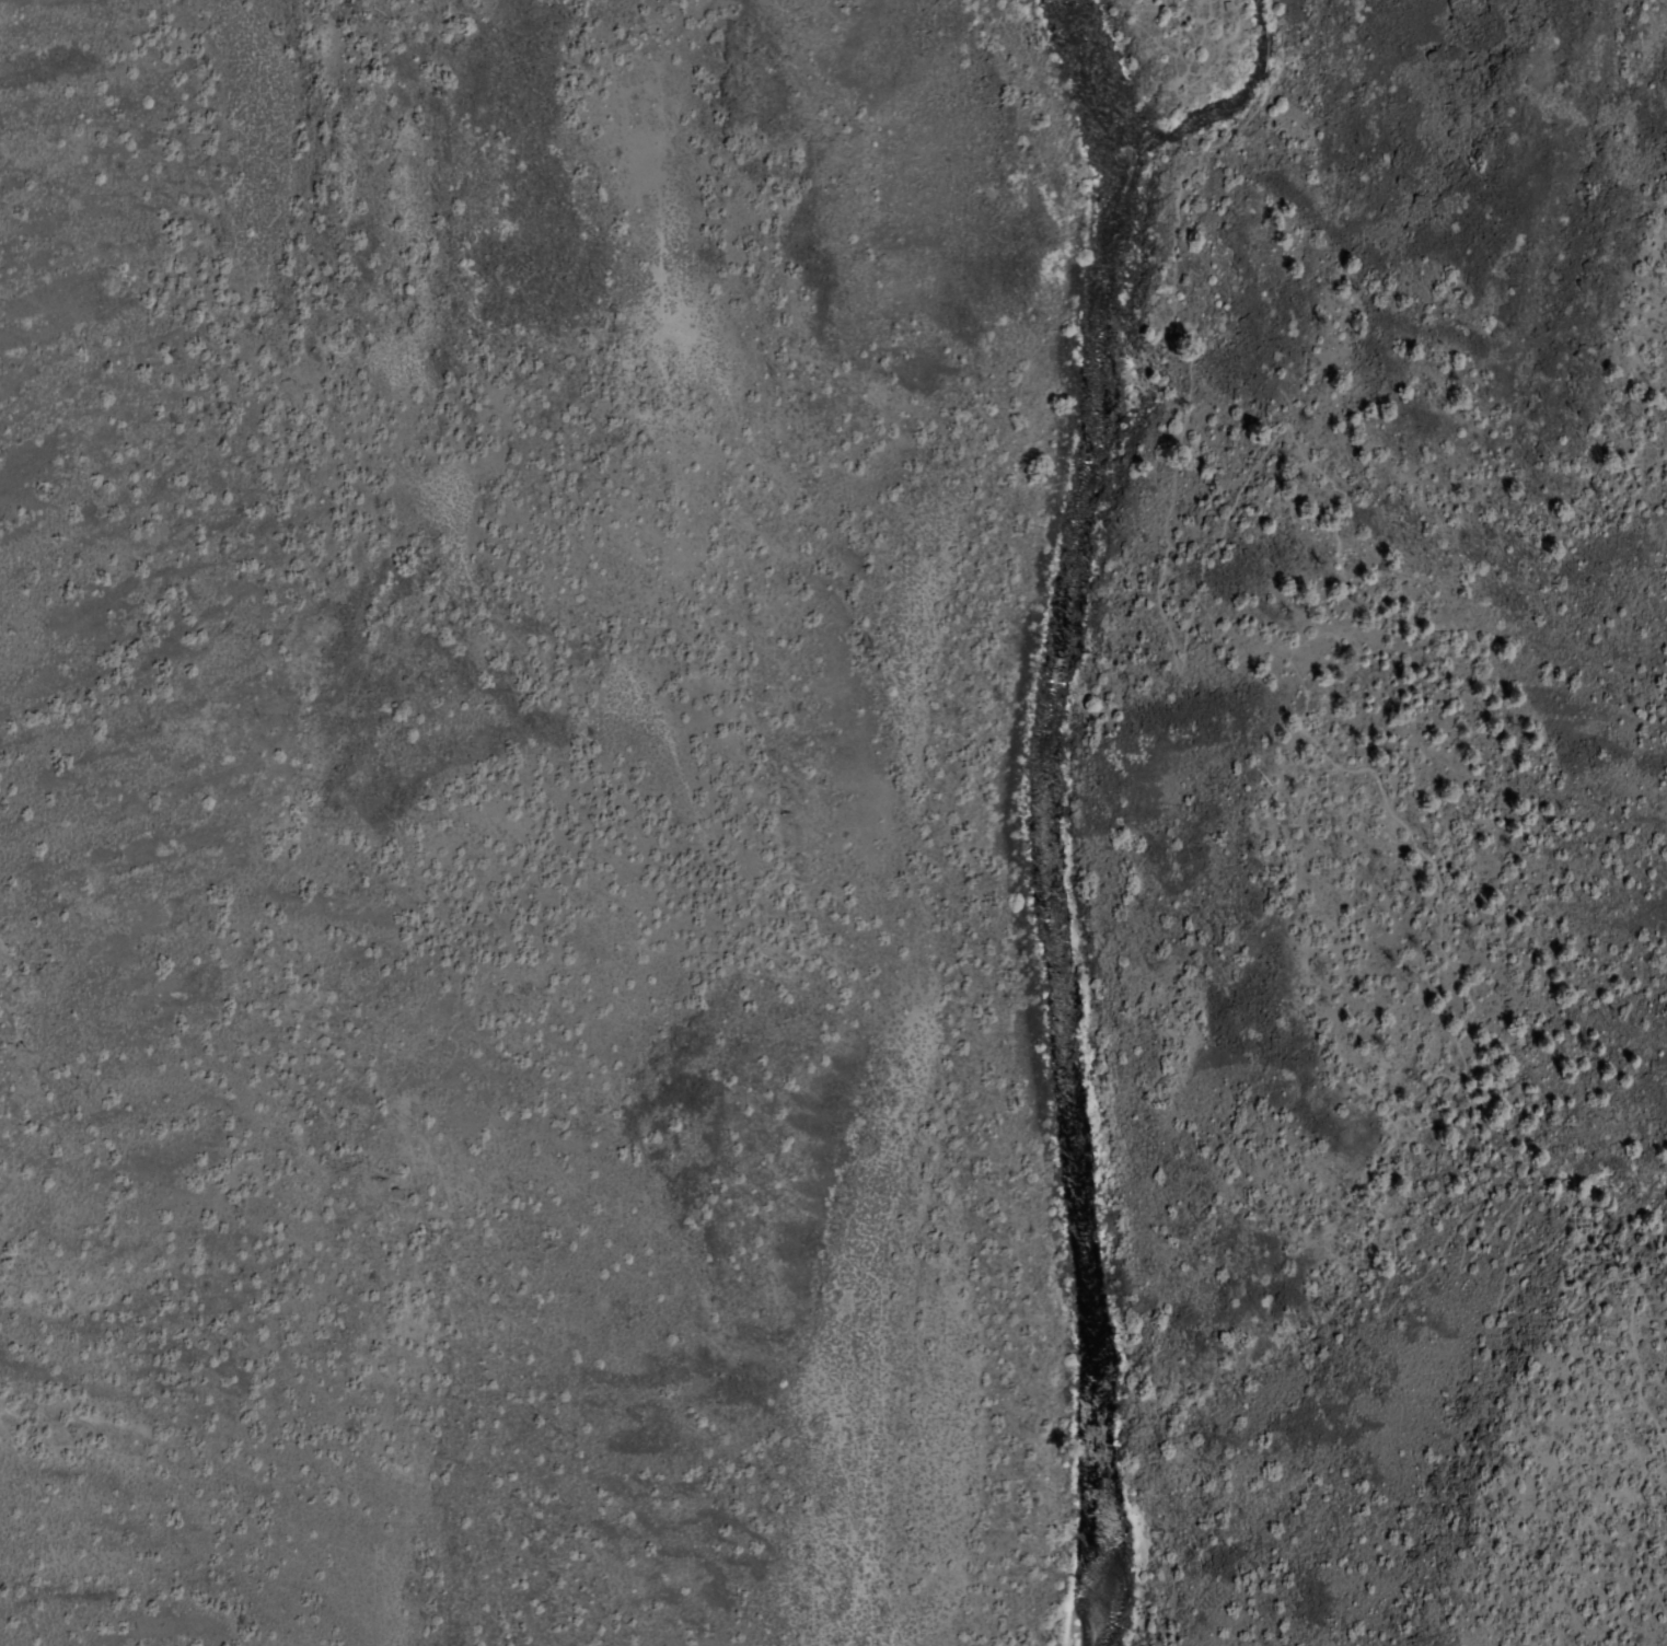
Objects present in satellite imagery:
building: (1142, 4)
building: (1224, 9)
road: (1172, 76)
river: (1049, 820)
road: (1431, 878)

